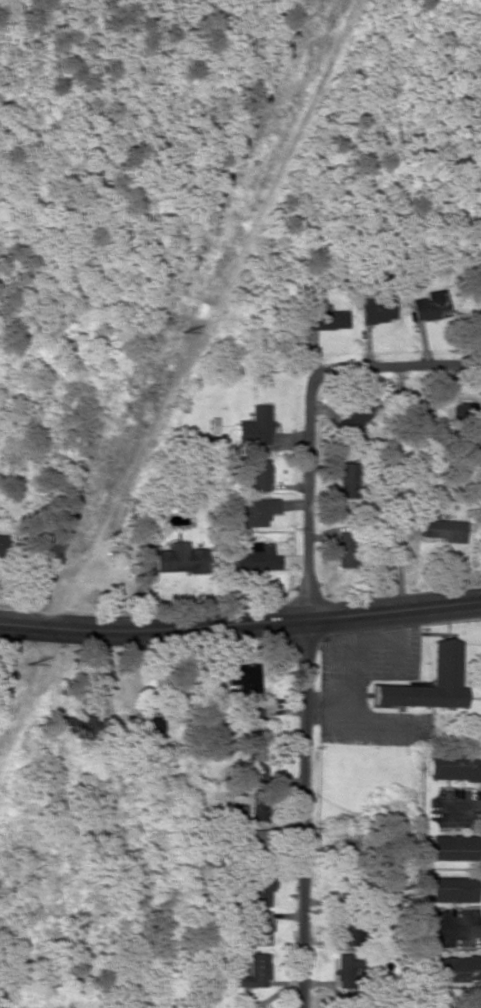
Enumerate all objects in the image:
building: (431, 306)
building: (380, 312)
building: (324, 318)
power tower: (180, 333)
road: (396, 366)
building: (356, 416)
building: (254, 427)
building: (258, 474)
building: (346, 480)
road: (309, 494)
building: (255, 512)
building: (442, 530)
building: (3, 544)
building: (346, 550)
building: (255, 557)
building: (180, 559)
road: (240, 626)
building: (445, 662)
power tower: (25, 667)
building: (245, 678)
building: (257, 720)
building: (144, 726)
building: (96, 727)
building: (260, 764)
building: (454, 768)
building: (261, 809)
road: (303, 812)
building: (260, 845)
building: (451, 848)
building: (261, 887)
building: (451, 890)
building: (260, 928)
building: (345, 933)
building: (455, 968)
building: (347, 969)
building: (253, 972)

